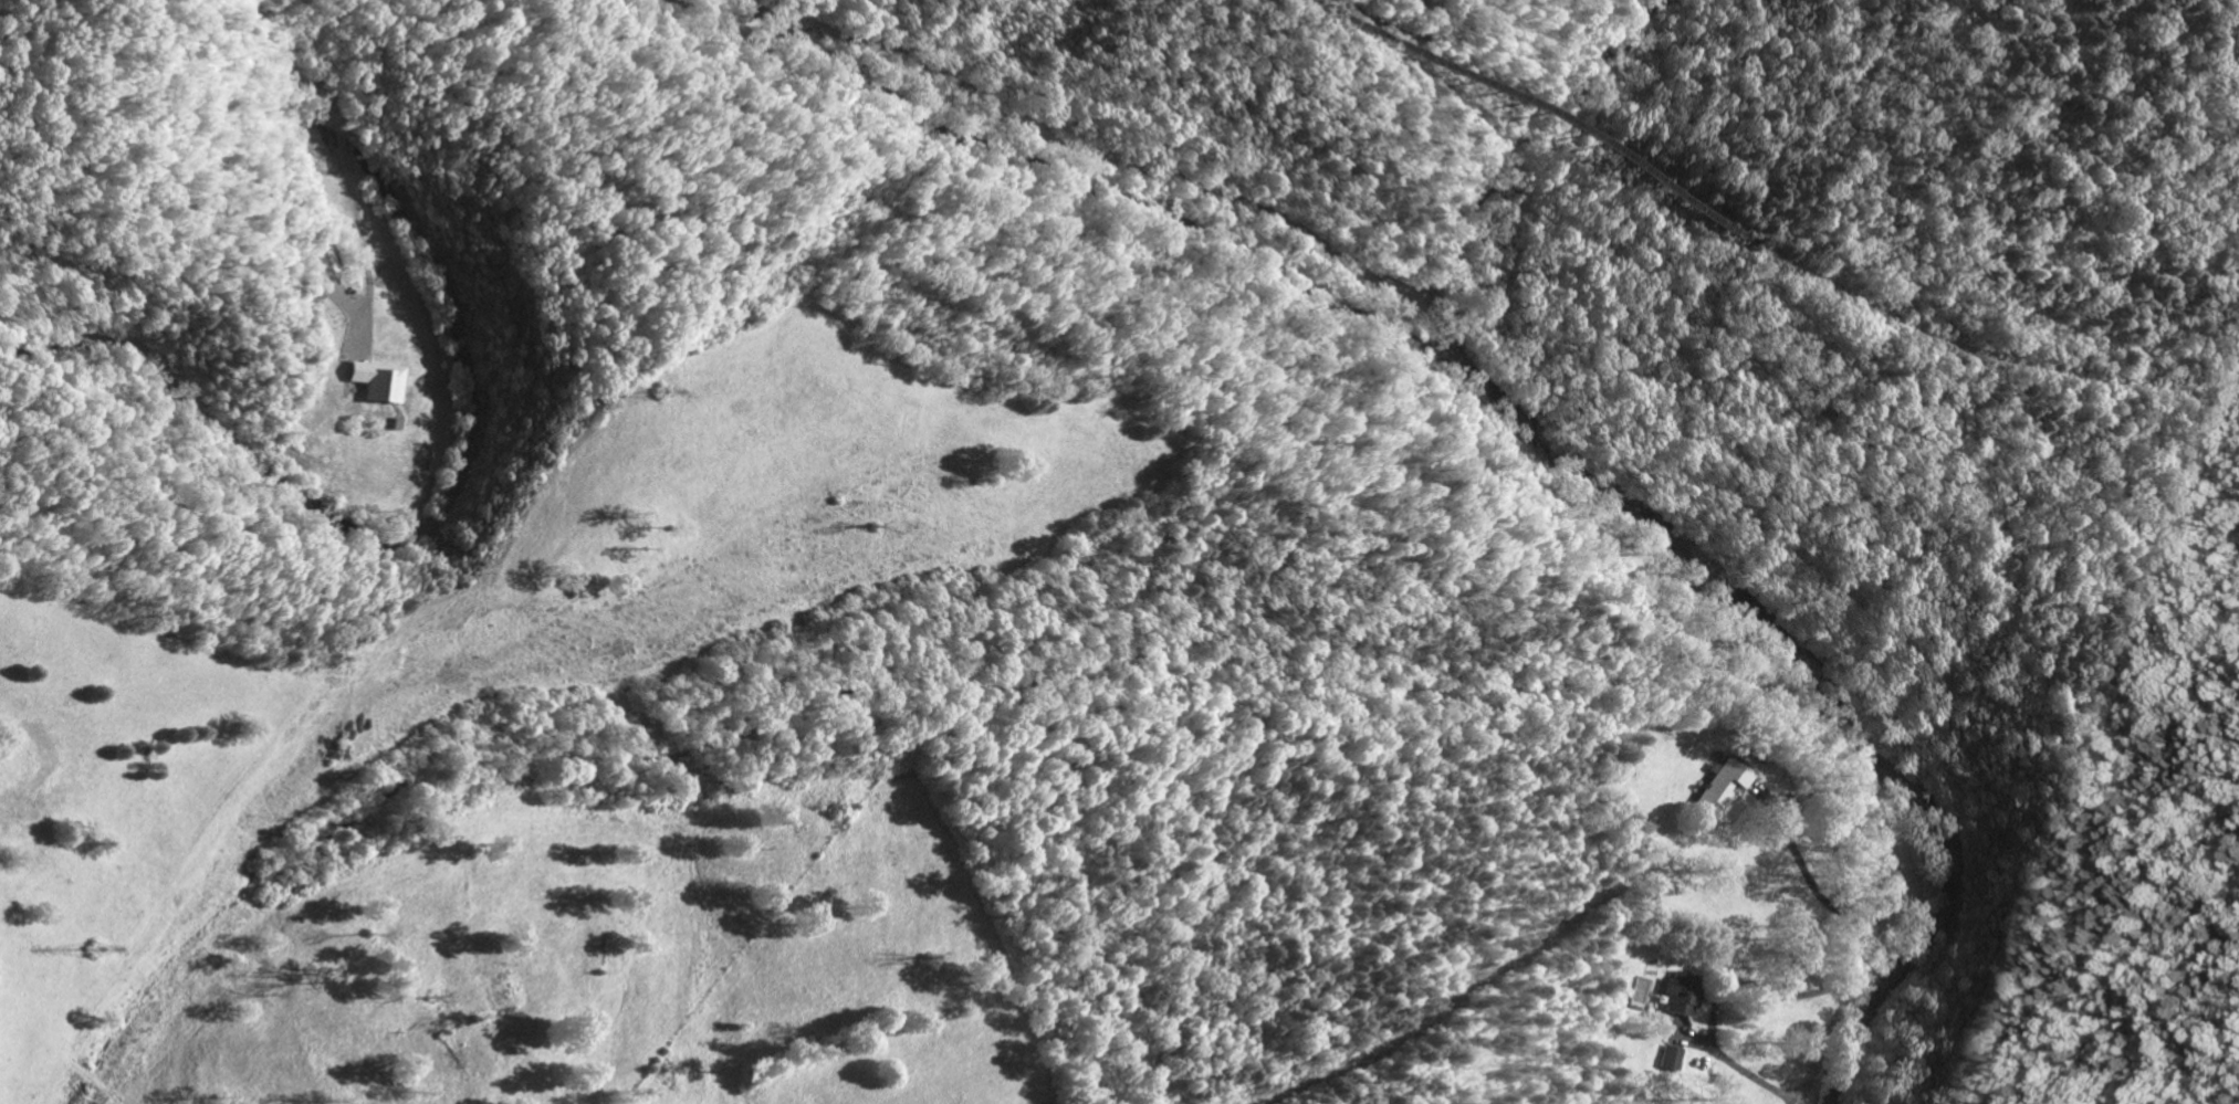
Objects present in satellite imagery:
railway: (1540, 123)
building: (373, 380)
road: (1592, 566)
building: (1730, 772)
road: (1716, 1002)

